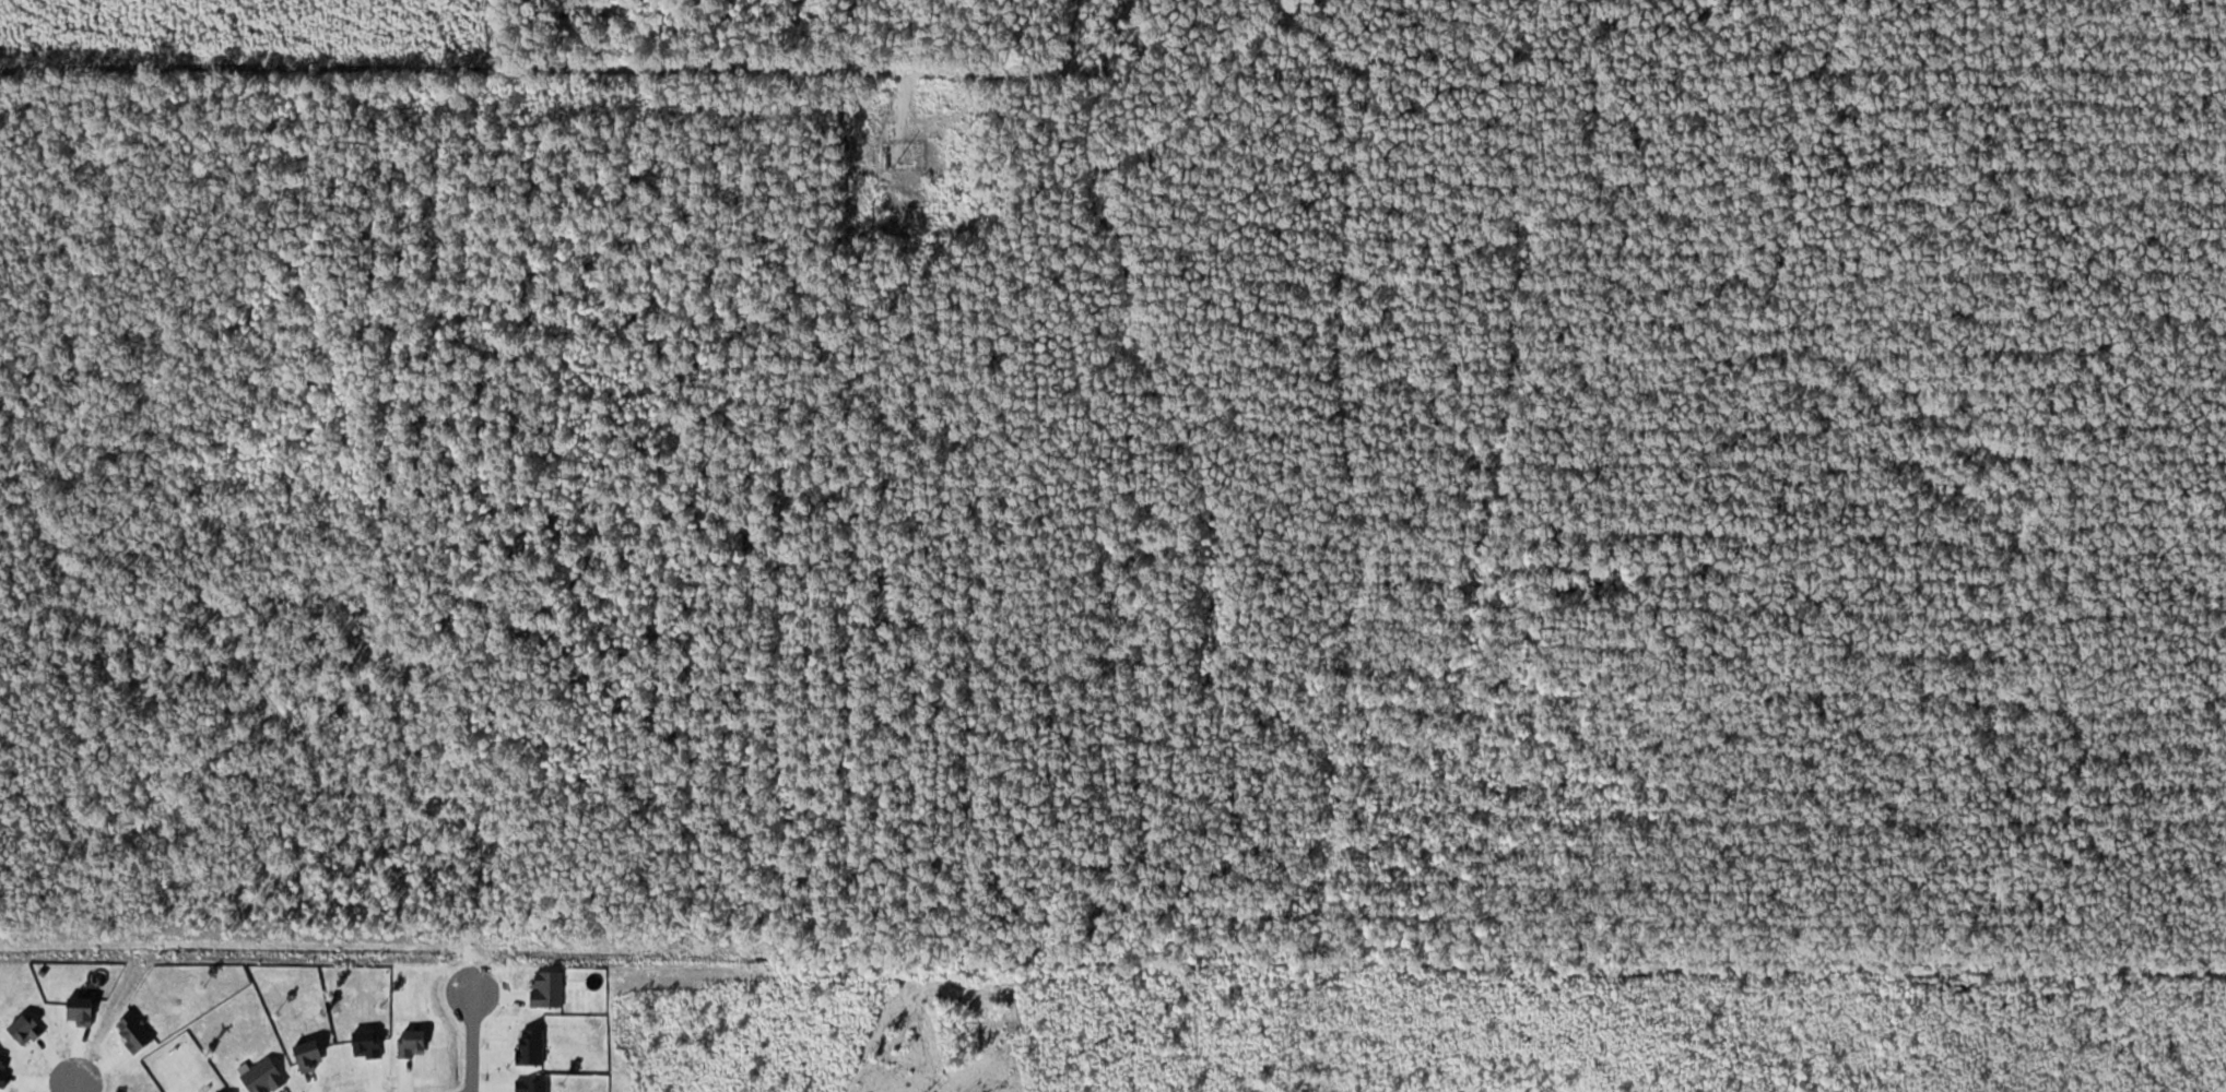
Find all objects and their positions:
road: (475, 1047)
road: (76, 1087)

